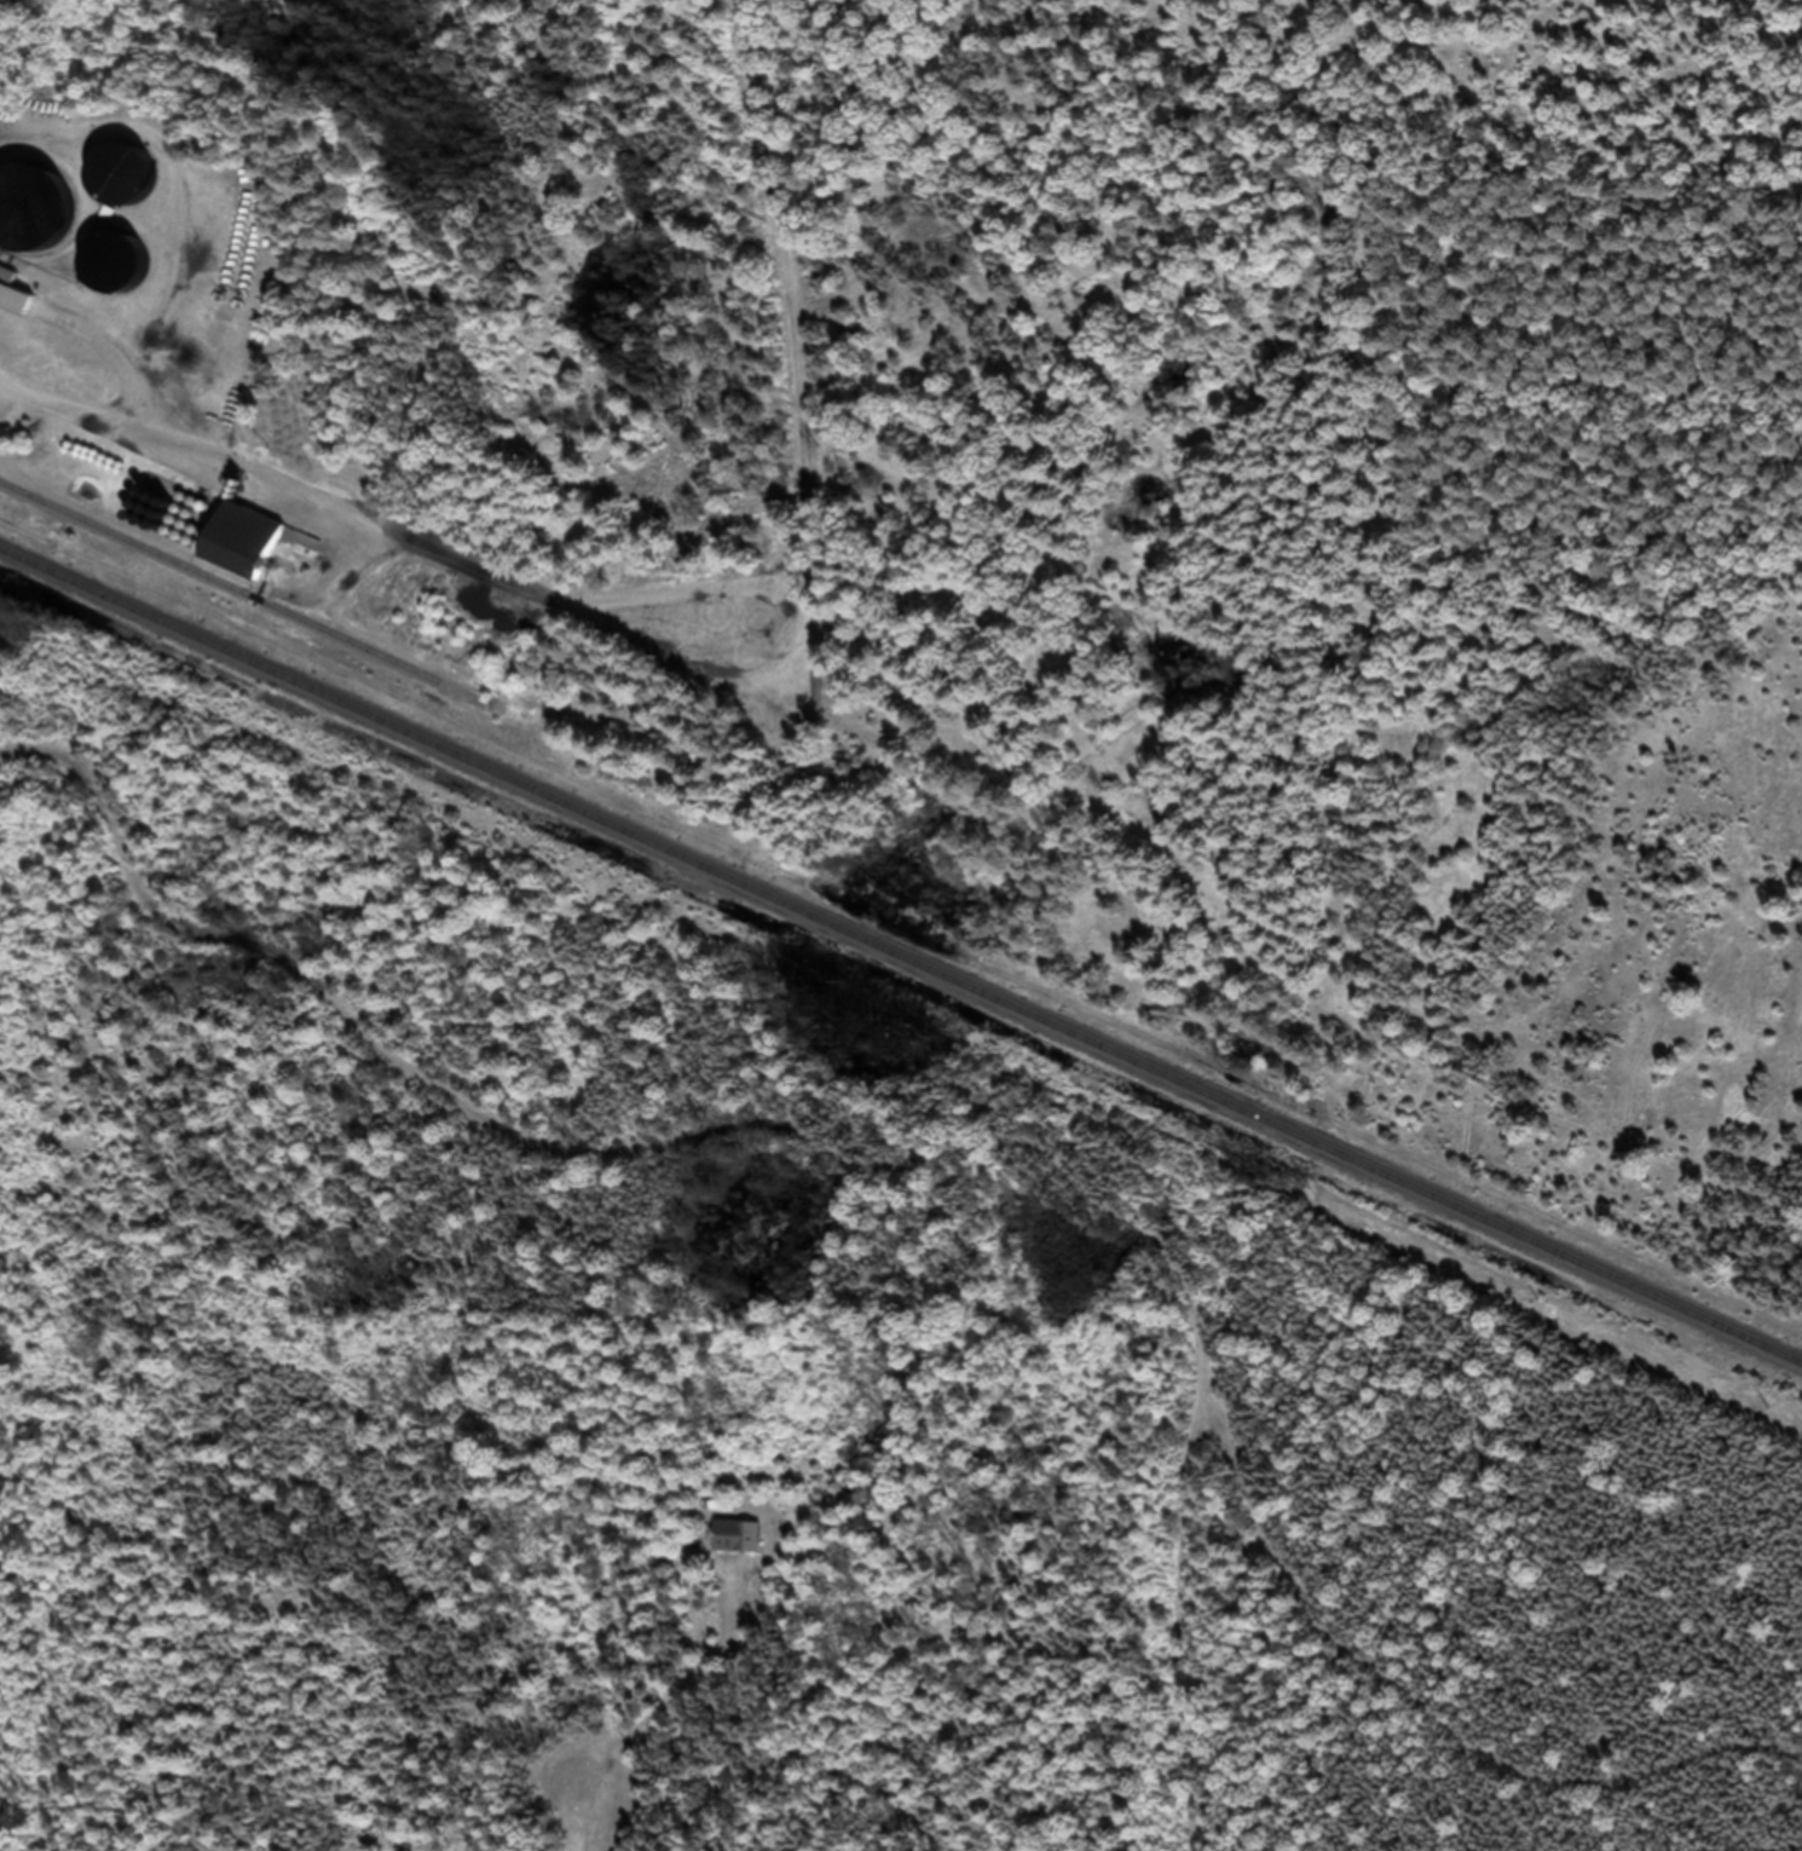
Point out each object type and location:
building: (259, 550)
railway: (247, 602)
road: (932, 746)
railway: (901, 964)
building: (750, 1533)
road: (587, 1758)

